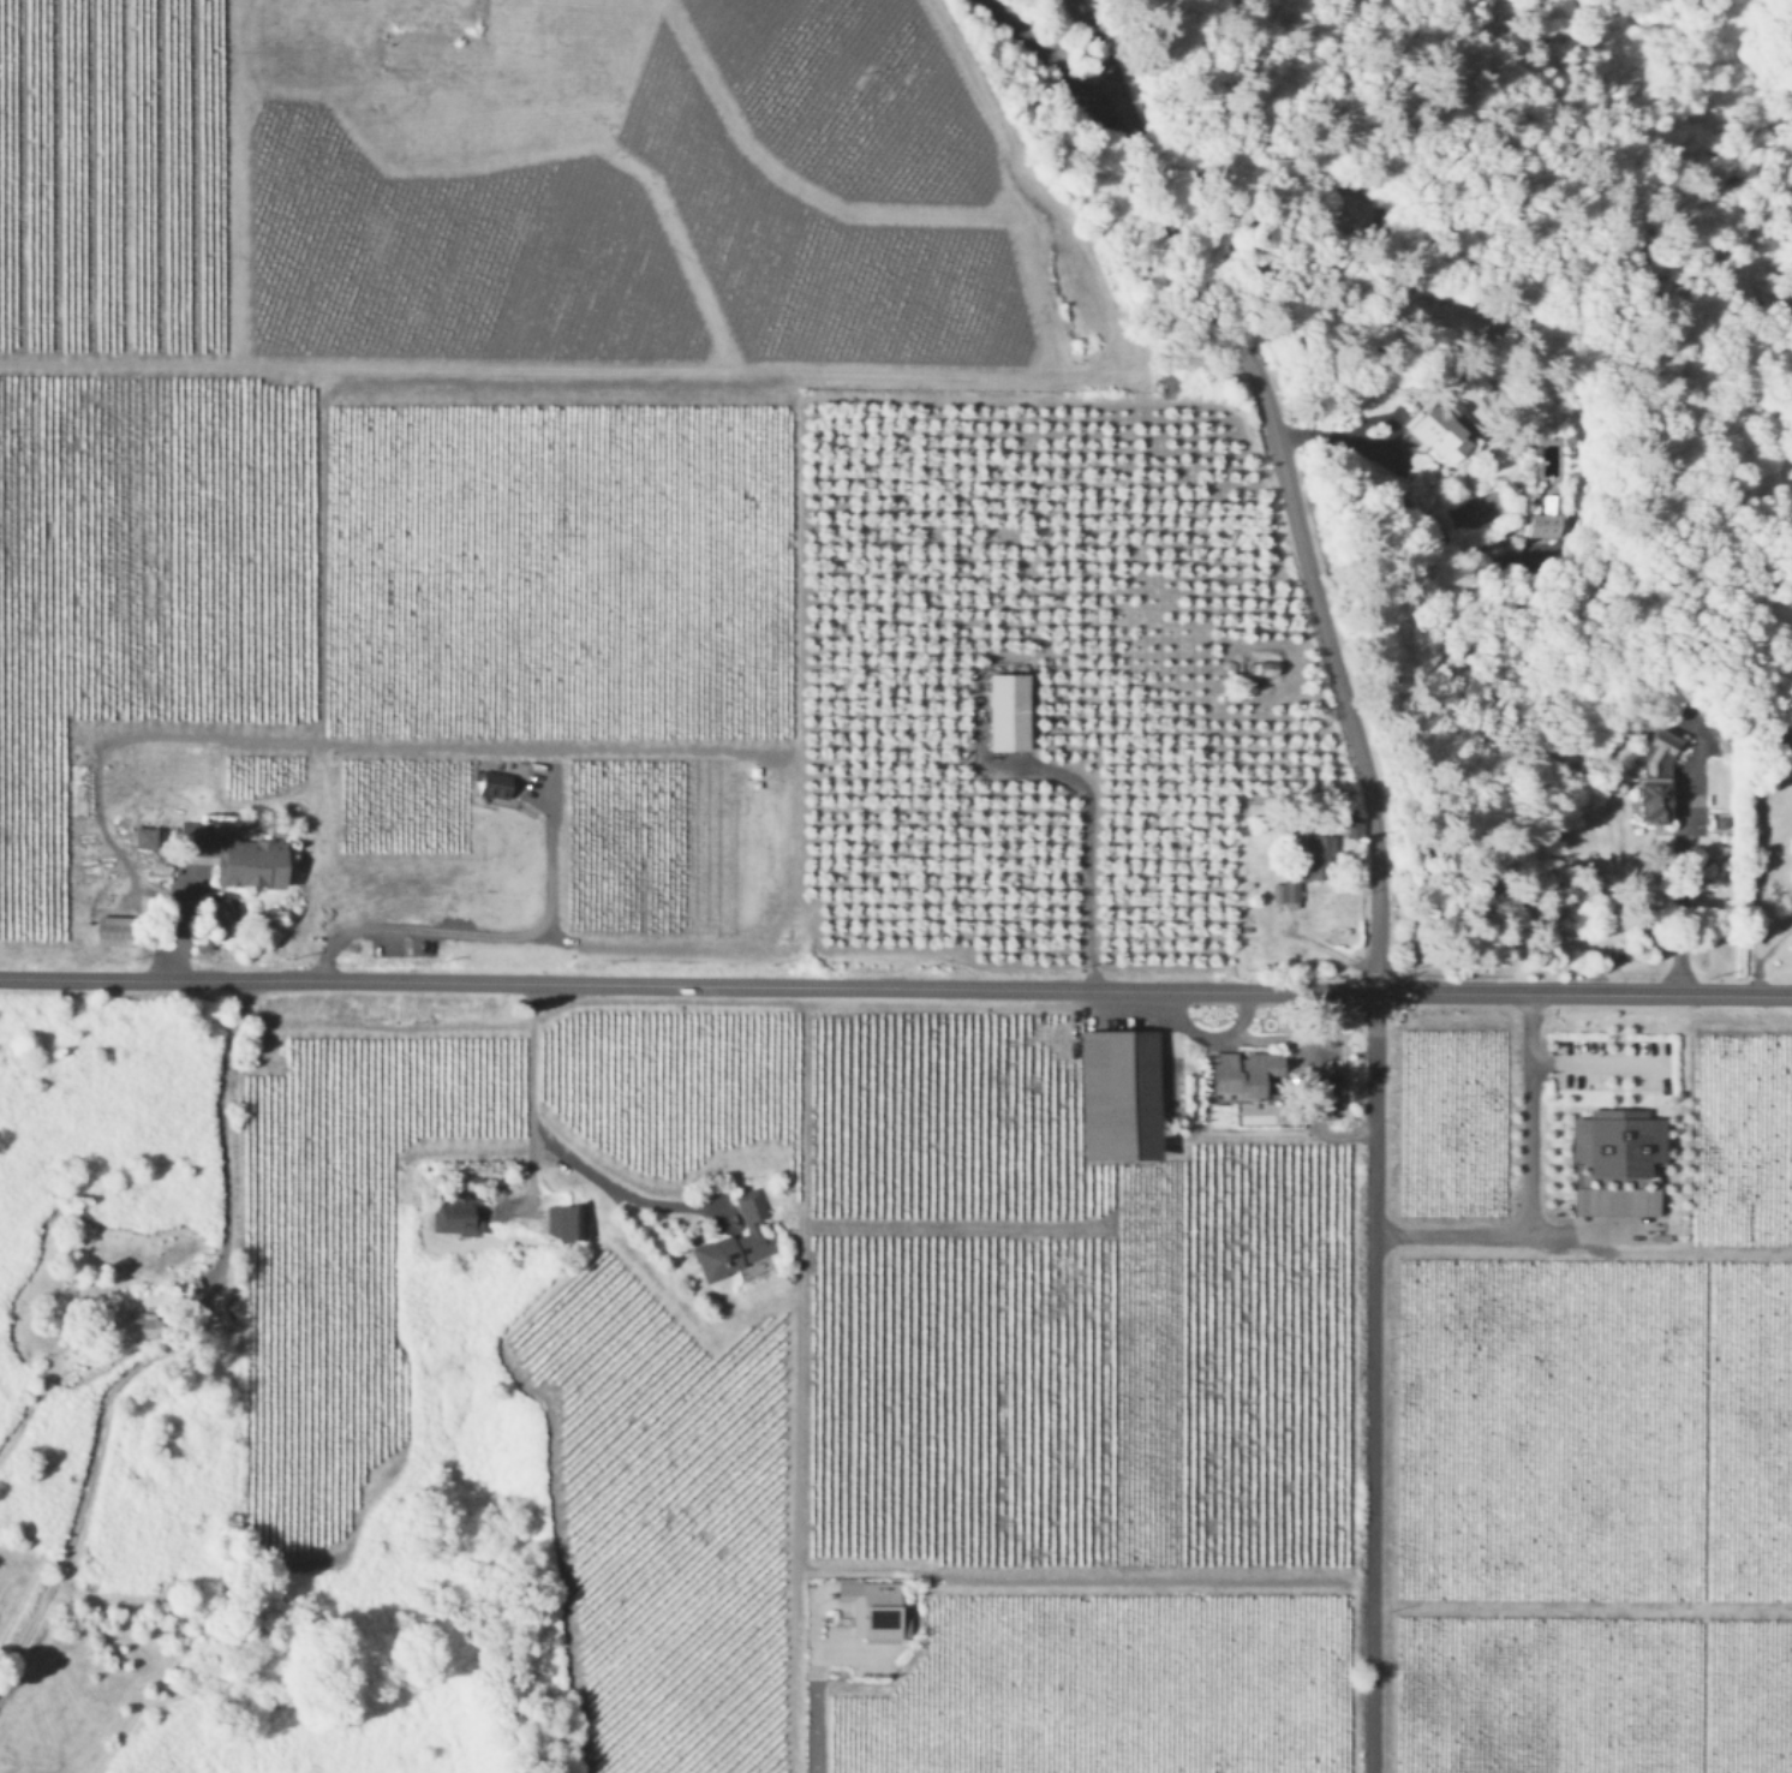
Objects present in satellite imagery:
road: (1055, 64)
road: (1339, 435)
building: (1435, 436)
road: (1283, 470)
building: (1549, 518)
building: (1262, 665)
building: (1008, 714)
building: (1650, 775)
building: (497, 787)
building: (1355, 825)
building: (190, 832)
building: (147, 835)
road: (1087, 844)
building: (251, 862)
building: (1308, 865)
road: (1680, 880)
building: (113, 930)
road: (488, 933)
road: (1761, 955)
road: (895, 987)
road: (1164, 1001)
road: (1161, 1021)
road: (1215, 1035)
road: (1590, 1058)
building: (1240, 1075)
building: (1119, 1093)
road: (1521, 1114)
building: (1617, 1141)
road: (550, 1144)
building: (1615, 1200)
building: (455, 1214)
building: (562, 1220)
road: (1505, 1234)
building: (737, 1240)
building: (135, 1323)
road: (169, 1343)
road: (1372, 1381)
building: (874, 1608)
road: (810, 1711)

